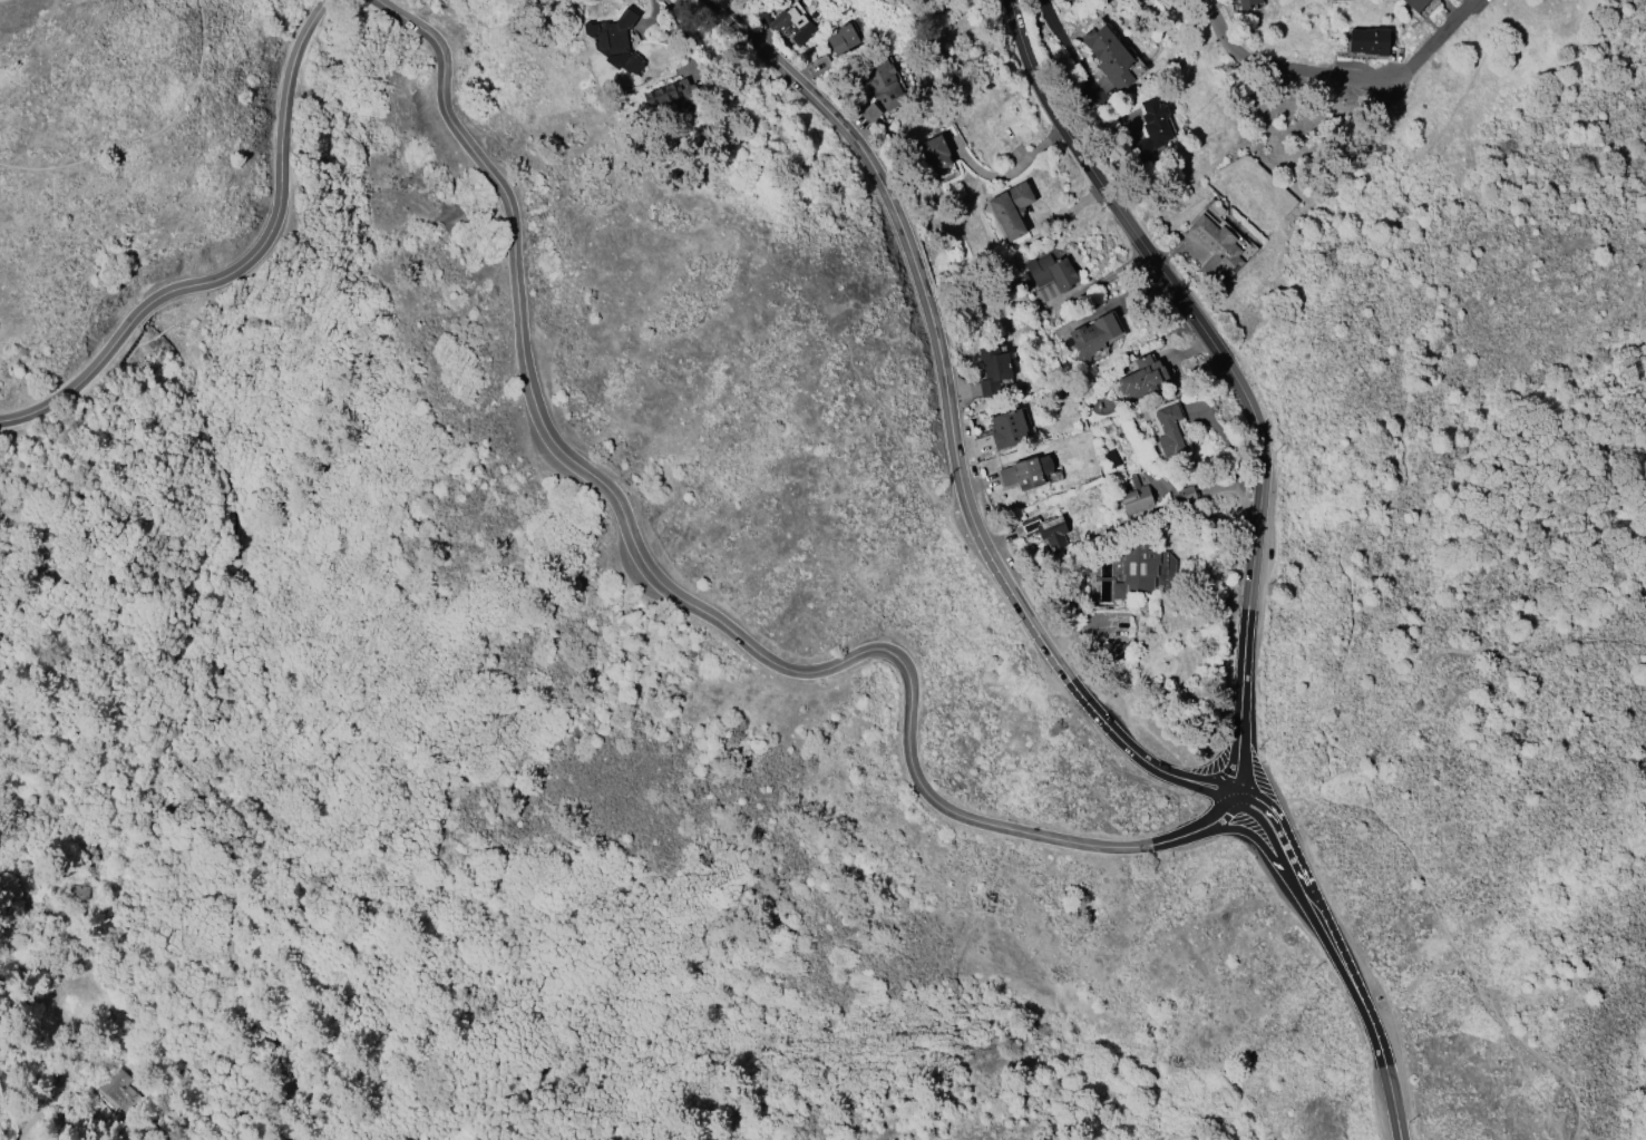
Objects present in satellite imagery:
road: (320, 0)
road: (321, 0)
building: (1064, 0)
building: (1246, 3)
building: (1414, 4)
road: (653, 14)
building: (790, 23)
building: (841, 39)
building: (615, 41)
building: (1369, 41)
road: (1067, 46)
building: (1110, 57)
road: (1338, 77)
building: (883, 84)
building: (678, 96)
building: (869, 113)
building: (1150, 129)
road: (148, 134)
building: (933, 153)
road: (329, 163)
road: (1011, 172)
building: (1011, 210)
building: (1215, 249)
road: (238, 267)
building: (1051, 275)
road: (158, 323)
building: (1093, 337)
building: (993, 370)
road: (1227, 371)
building: (1140, 378)
road: (1409, 399)
road: (118, 409)
road: (949, 421)
building: (1007, 429)
building: (1168, 430)
building: (1021, 474)
building: (1186, 494)
building: (1134, 498)
building: (1046, 530)
building: (1134, 569)
road: (691, 603)
building: (1147, 629)
building: (1117, 651)
road: (1479, 654)
road: (1363, 764)
road: (231, 913)
road: (1442, 927)
road: (1337, 958)
road: (80, 1032)
road: (149, 1105)

